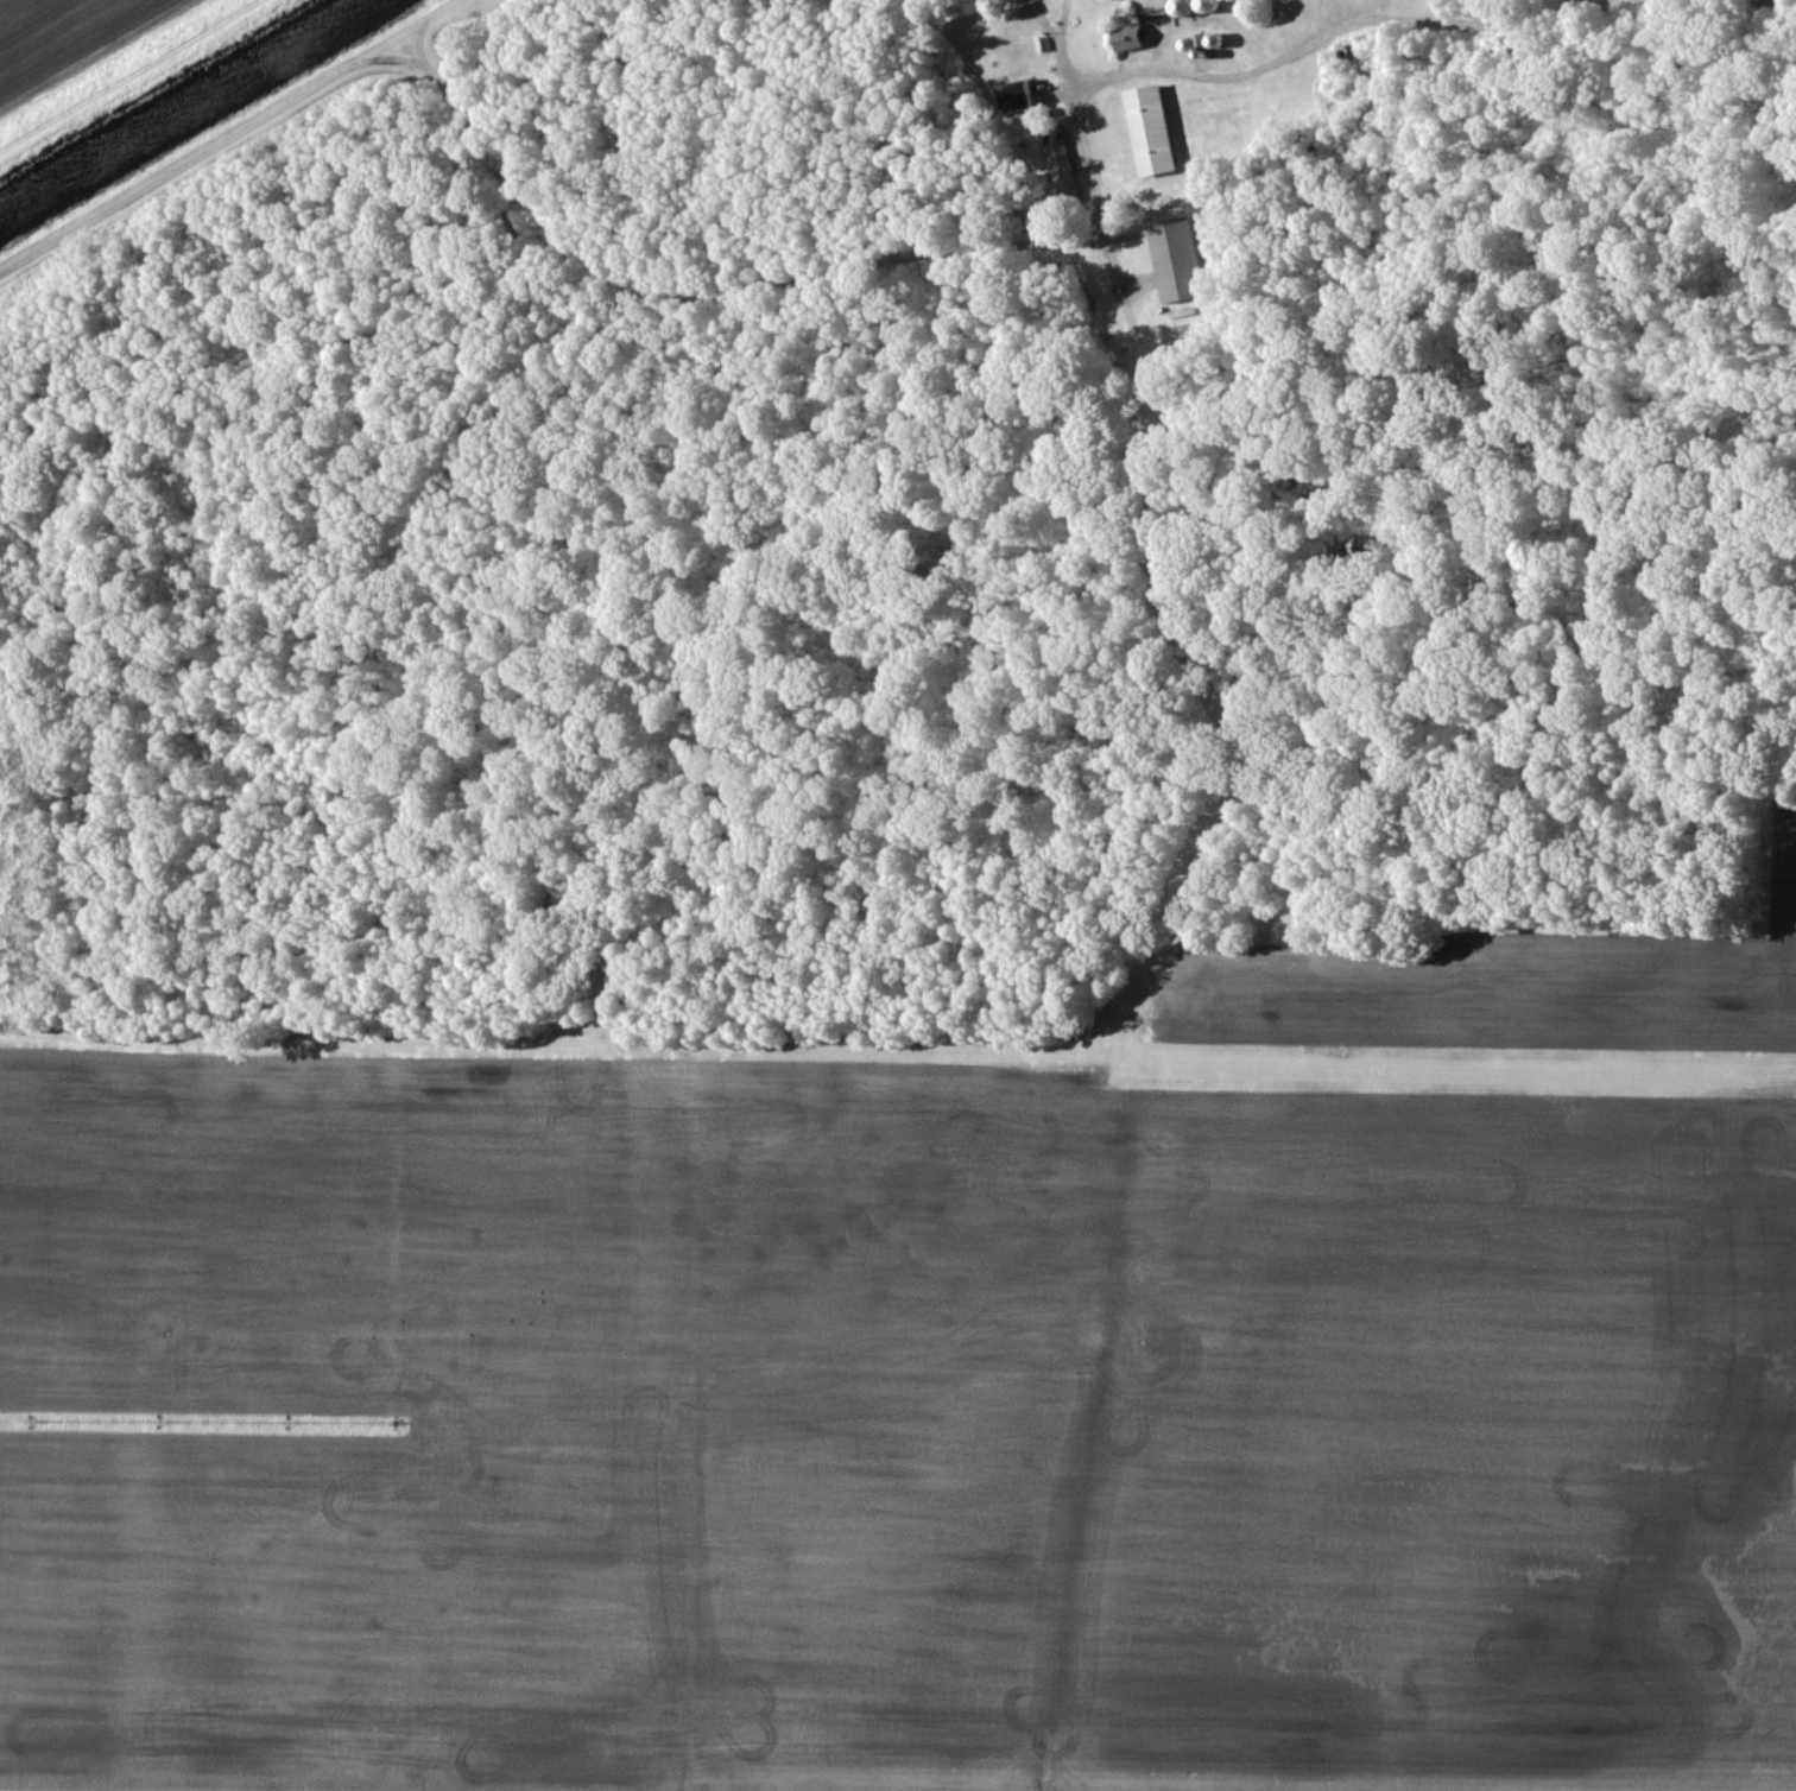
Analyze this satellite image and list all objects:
building: (1130, 34)
road: (1062, 46)
building: (1020, 99)
building: (1151, 129)
building: (1063, 167)
road: (903, 259)
building: (1177, 259)

